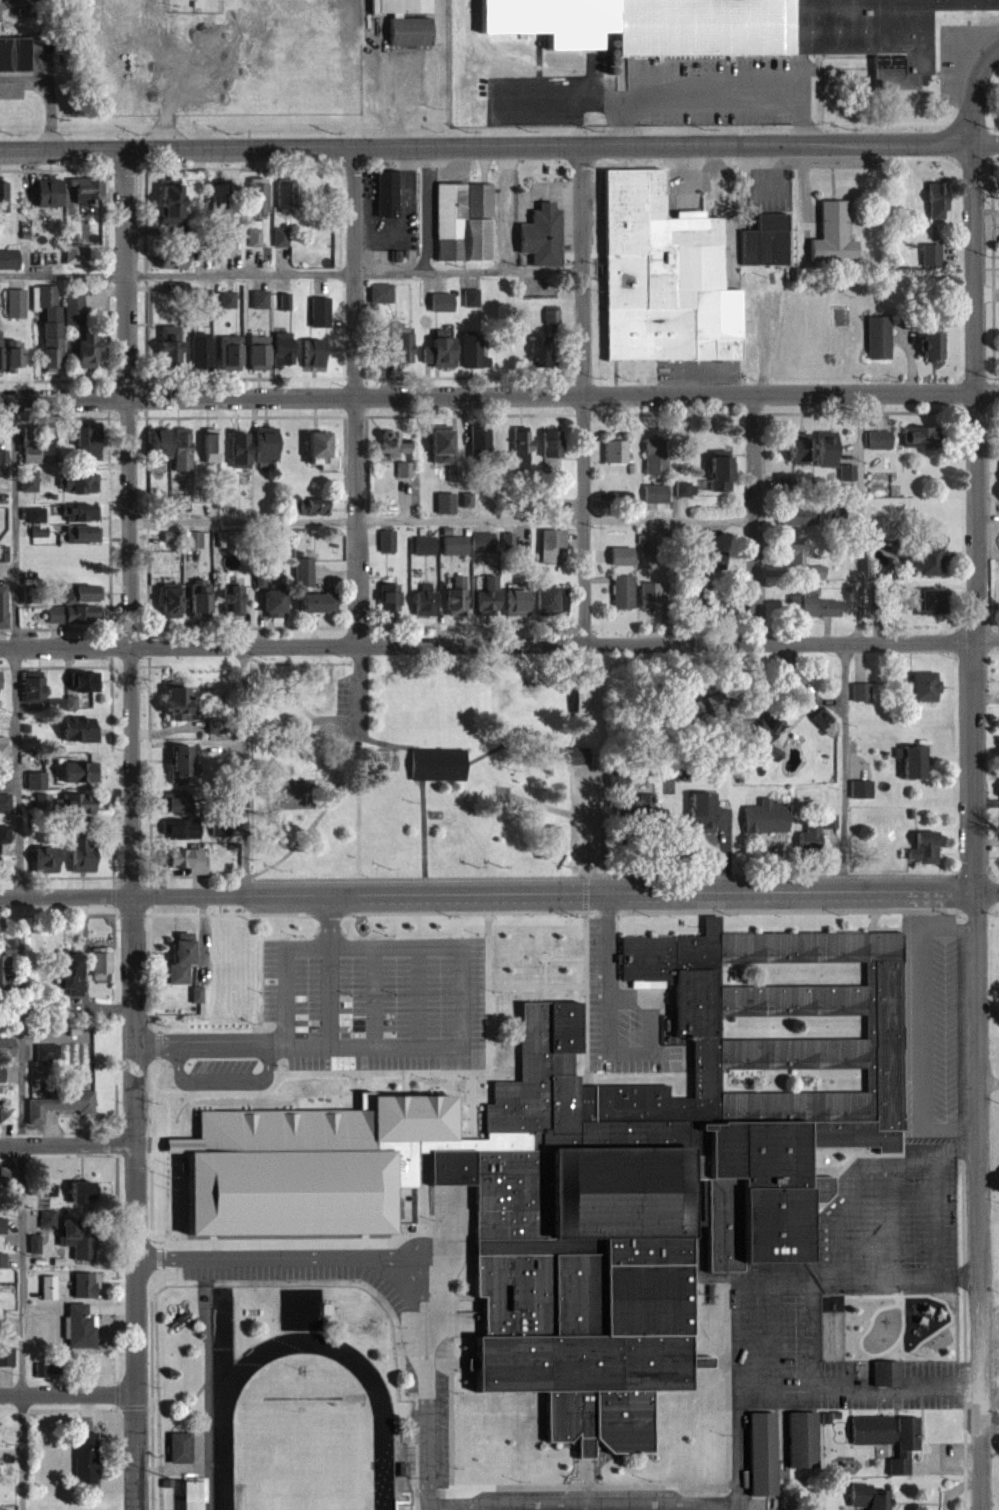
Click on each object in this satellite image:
building: (698, 2)
building: (406, 7)
building: (413, 32)
building: (878, 32)
building: (16, 54)
road: (976, 89)
road: (716, 96)
road: (393, 102)
road: (987, 141)
road: (488, 146)
building: (88, 190)
building: (51, 192)
building: (221, 193)
building: (287, 194)
building: (388, 194)
building: (262, 195)
building: (4, 197)
building: (940, 200)
building: (176, 205)
road: (502, 208)
road: (429, 209)
building: (466, 222)
building: (835, 235)
building: (283, 236)
building: (544, 236)
building: (768, 241)
building: (74, 252)
building: (176, 258)
building: (9, 259)
road: (977, 266)
road: (581, 270)
road: (352, 272)
road: (290, 273)
road: (124, 274)
building: (667, 277)
building: (381, 293)
building: (45, 296)
building: (472, 298)
building: (261, 299)
building: (17, 303)
building: (75, 307)
building: (880, 338)
building: (173, 345)
building: (408, 346)
building: (935, 346)
building: (542, 349)
building: (89, 350)
building: (16, 352)
building: (54, 352)
building: (203, 352)
building: (232, 352)
building: (261, 352)
building: (286, 352)
building: (445, 352)
building: (316, 353)
building: (475, 353)
building: (2, 354)
road: (499, 397)
building: (85, 436)
building: (925, 438)
building: (881, 440)
building: (393, 442)
building: (482, 442)
building: (31, 443)
building: (562, 443)
building: (214, 445)
building: (258, 446)
building: (444, 446)
building: (178, 447)
building: (522, 448)
building: (325, 450)
building: (617, 452)
building: (823, 452)
building: (658, 455)
building: (2, 463)
building: (405, 468)
building: (724, 474)
building: (30, 480)
building: (82, 484)
building: (686, 489)
building: (657, 493)
building: (930, 511)
building: (83, 513)
building: (799, 517)
road: (755, 518)
road: (582, 519)
road: (355, 521)
road: (440, 521)
building: (84, 534)
building: (194, 539)
building: (388, 541)
building: (485, 542)
building: (426, 545)
building: (456, 545)
building: (555, 546)
building: (796, 555)
building: (926, 560)
building: (625, 591)
building: (83, 592)
building: (203, 596)
building: (458, 596)
building: (490, 596)
building: (653, 596)
building: (173, 599)
building: (235, 599)
building: (395, 601)
building: (555, 601)
building: (936, 601)
building: (520, 603)
building: (321, 604)
building: (428, 604)
building: (818, 604)
building: (278, 605)
building: (5, 606)
building: (76, 613)
road: (844, 640)
road: (499, 644)
building: (2, 678)
building: (83, 680)
building: (927, 686)
building: (36, 689)
building: (862, 691)
building: (584, 699)
building: (721, 702)
building: (65, 704)
building: (176, 706)
building: (825, 719)
building: (80, 729)
building: (4, 749)
building: (581, 756)
building: (918, 762)
building: (181, 764)
building: (440, 764)
road: (129, 770)
building: (80, 772)
building: (4, 794)
building: (174, 801)
building: (77, 808)
building: (649, 813)
building: (704, 815)
building: (766, 822)
building: (181, 828)
road: (582, 834)
building: (5, 835)
building: (811, 838)
building: (927, 847)
building: (79, 858)
building: (185, 862)
building: (43, 863)
road: (499, 894)
road: (448, 946)
building: (222, 950)
road: (974, 950)
road: (17, 955)
building: (181, 958)
building: (99, 963)
road: (607, 968)
building: (68, 979)
road: (377, 997)
road: (421, 997)
road: (303, 1049)
building: (6, 1050)
building: (46, 1053)
building: (2, 1076)
road: (226, 1083)
road: (987, 1084)
building: (60, 1105)
building: (6, 1117)
road: (67, 1142)
building: (639, 1147)
building: (359, 1188)
building: (48, 1190)
building: (81, 1194)
building: (48, 1219)
building: (3, 1225)
building: (75, 1226)
road: (292, 1256)
building: (3, 1262)
road: (744, 1283)
building: (87, 1285)
road: (135, 1326)
building: (82, 1329)
road: (424, 1349)
building: (7, 1354)
building: (888, 1373)
road: (842, 1390)
road: (67, 1394)
track: (224, 1398)
building: (891, 1437)
building: (805, 1440)
building: (182, 1447)
building: (765, 1454)
building: (88, 1458)
park: (302, 1460)
park: (303, 1460)
building: (869, 1497)
road: (585, 1507)

